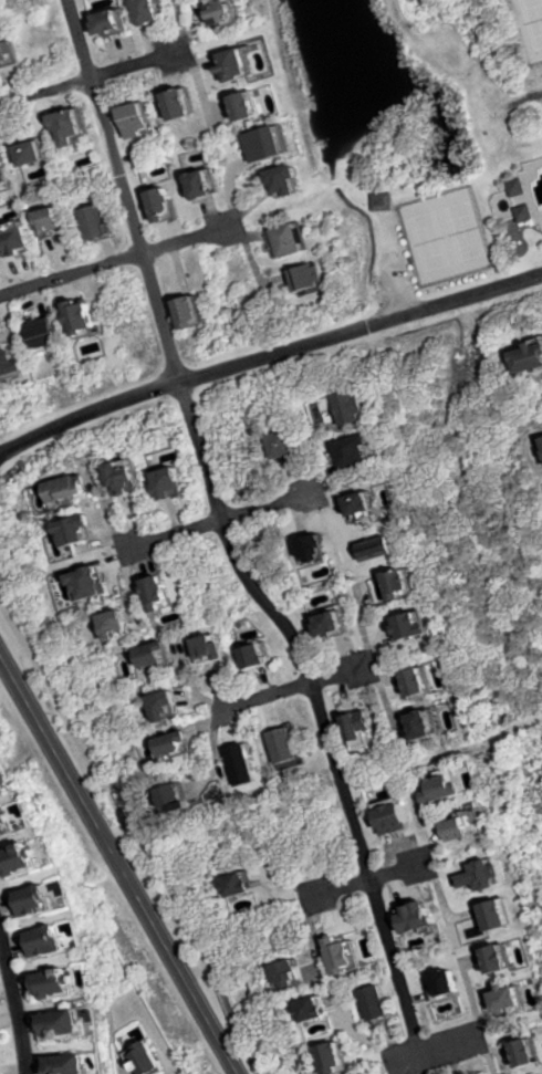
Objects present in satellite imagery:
building: (148, 10)
building: (223, 10)
building: (110, 20)
park: (533, 20)
building: (8, 50)
building: (234, 62)
road: (138, 64)
road: (45, 91)
building: (180, 102)
building: (248, 103)
building: (137, 118)
building: (70, 125)
building: (265, 142)
building: (31, 150)
building: (288, 179)
building: (6, 180)
building: (205, 181)
building: (525, 201)
building: (163, 202)
building: (384, 202)
building: (51, 217)
building: (95, 220)
park: (465, 232)
building: (14, 236)
building: (288, 238)
road: (191, 240)
park: (430, 242)
road: (72, 274)
building: (306, 277)
building: (191, 311)
building: (82, 314)
building: (42, 331)
road: (171, 351)
building: (528, 355)
road: (268, 356)
building: (7, 358)
building: (356, 407)
building: (541, 439)
building: (288, 444)
building: (357, 452)
building: (133, 477)
building: (180, 482)
building: (75, 490)
road: (270, 503)
building: (368, 503)
building: (86, 529)
road: (175, 531)
building: (322, 548)
building: (97, 583)
building: (407, 584)
building: (164, 593)
building: (336, 624)
building: (123, 625)
building: (423, 625)
building: (220, 648)
building: (161, 655)
building: (262, 656)
road: (342, 675)
building: (423, 682)
road: (268, 696)
building: (174, 706)
building: (434, 723)
building: (369, 731)
building: (183, 745)
building: (290, 747)
road: (343, 780)
building: (450, 786)
building: (1, 790)
building: (184, 797)
building: (398, 816)
building: (12, 821)
building: (468, 828)
building: (25, 859)
road: (118, 863)
road: (400, 869)
building: (486, 876)
building: (244, 885)
road: (341, 888)
building: (40, 900)
building: (502, 916)
building: (424, 918)
building: (52, 942)
building: (358, 952)
building: (503, 960)
building: (300, 973)
road: (399, 976)
building: (62, 984)
building: (450, 984)
building: (513, 998)
road: (17, 1003)
building: (381, 1004)
building: (320, 1010)
building: (69, 1026)
building: (3, 1029)
road: (511, 1029)
road: (434, 1051)
building: (529, 1055)
building: (342, 1059)
building: (149, 1060)
building: (76, 1064)
building: (7, 1070)

